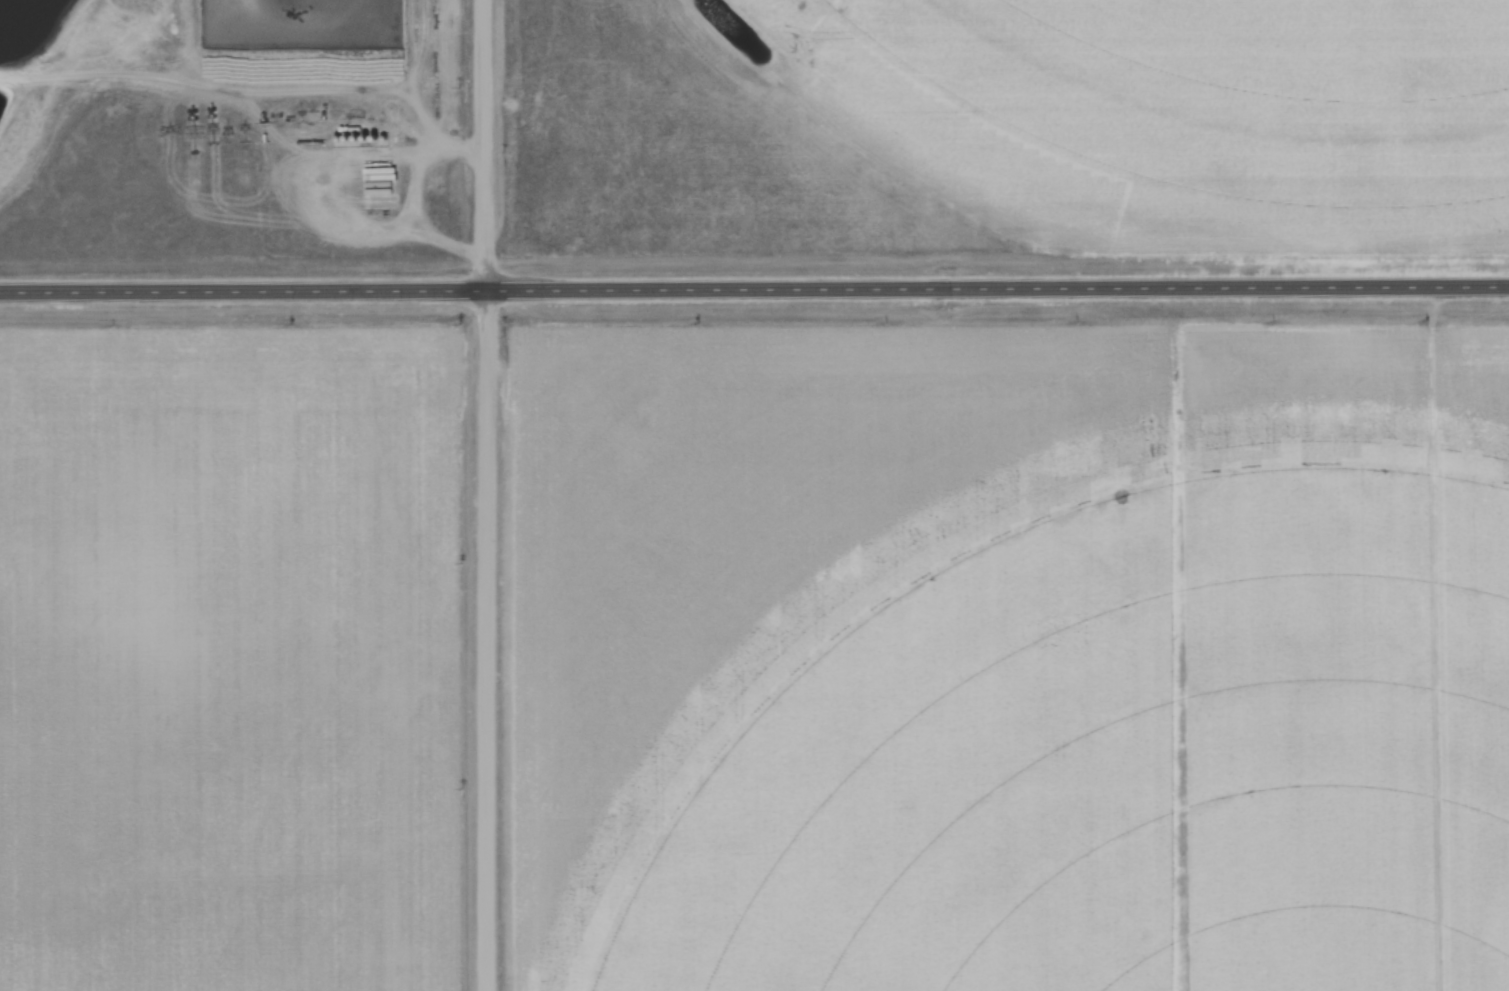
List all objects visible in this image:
building: (366, 138)
silo: (366, 138)
building: (341, 139)
silo: (341, 139)
building: (349, 139)
silo: (349, 139)
building: (357, 139)
silo: (357, 139)
building: (375, 139)
silo: (375, 139)
building: (386, 139)
silo: (386, 139)
road: (423, 149)
road: (415, 194)
road: (754, 291)
road: (487, 495)

